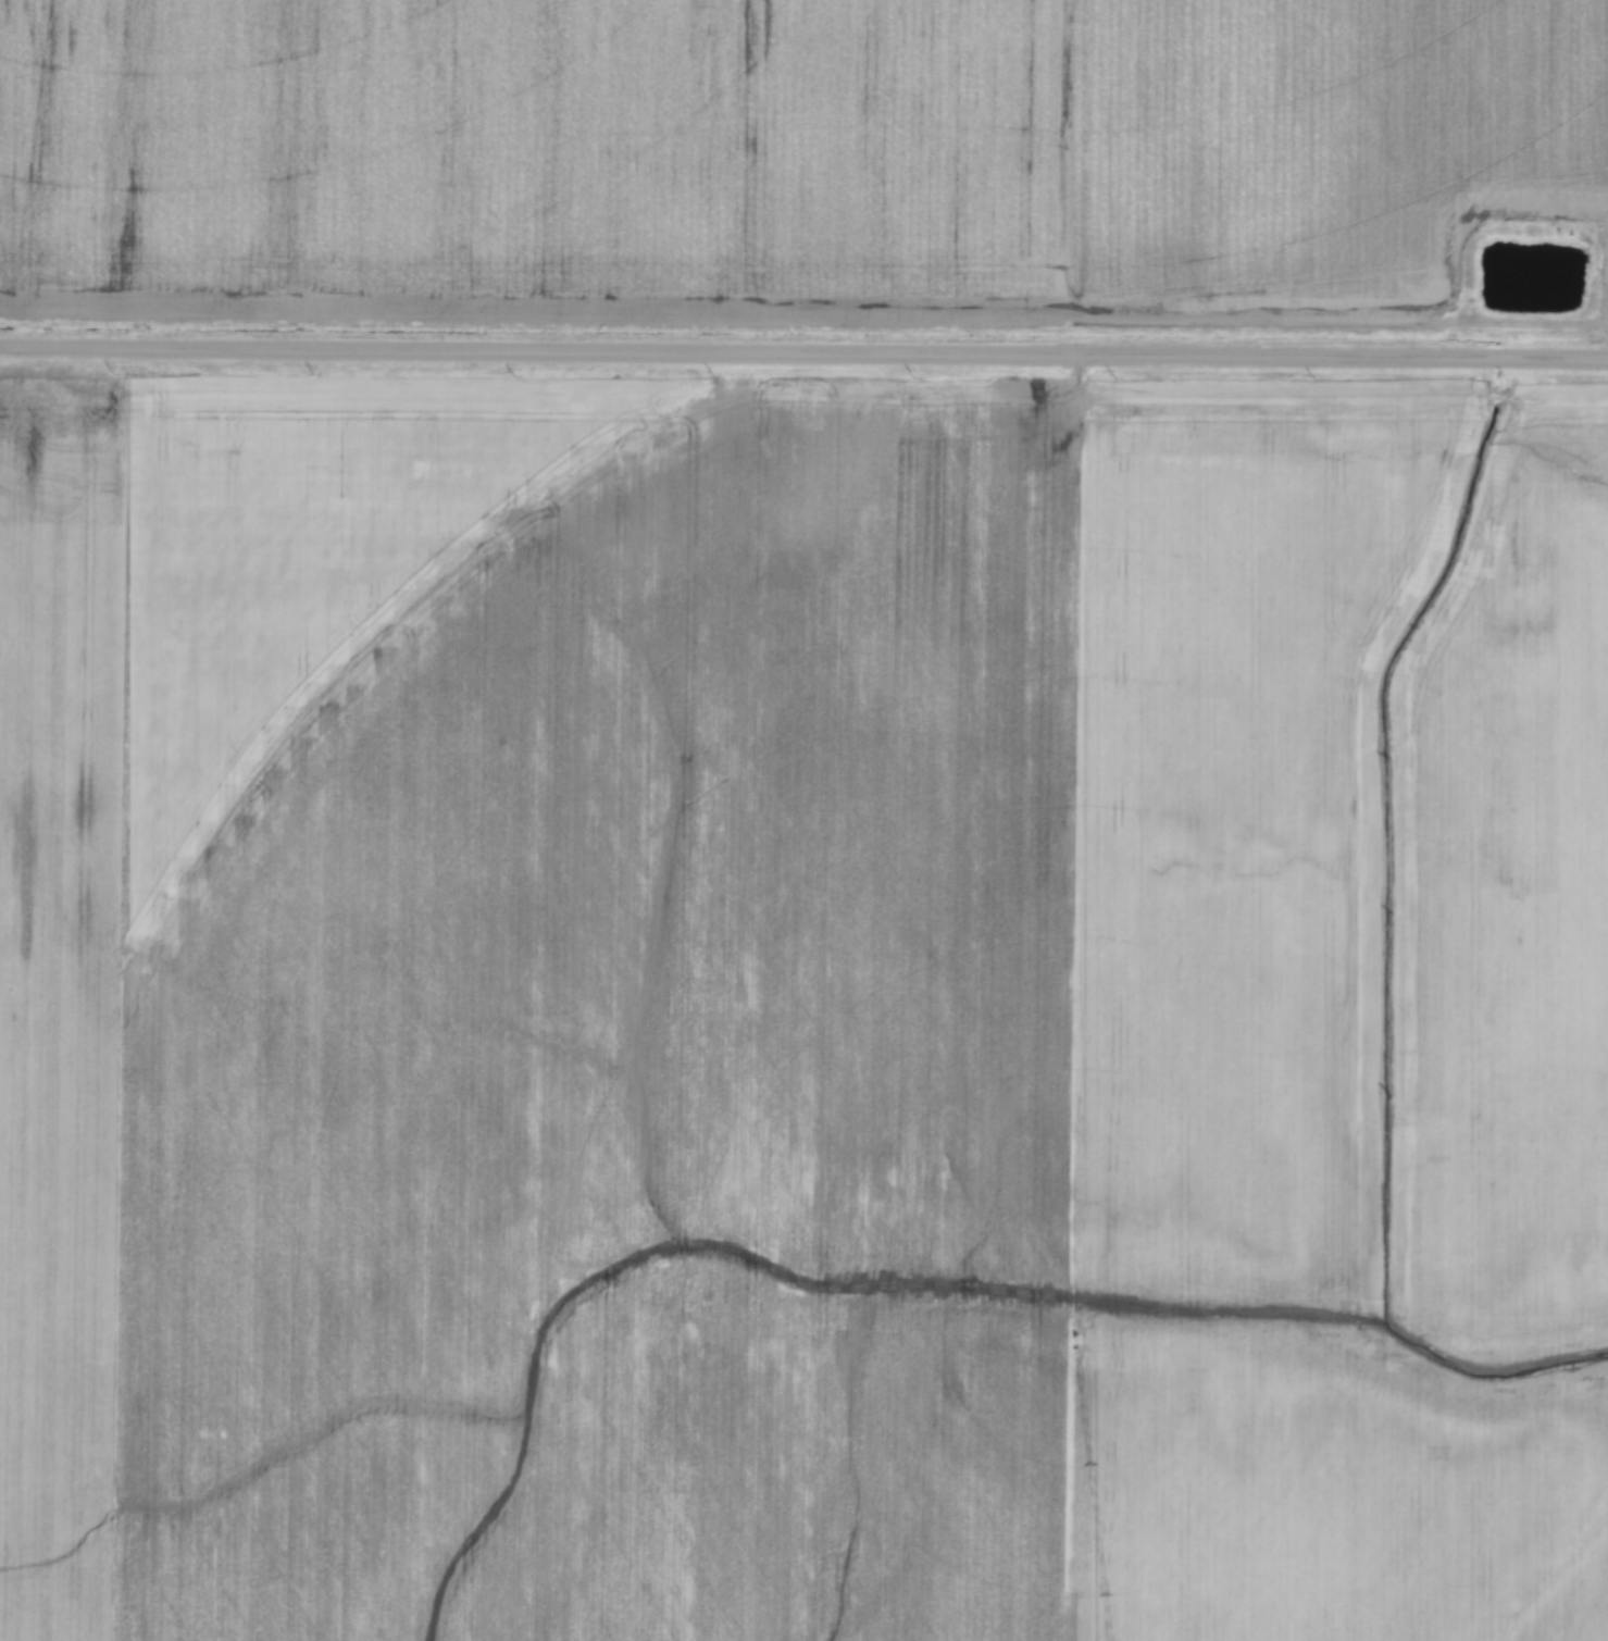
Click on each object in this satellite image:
road: (803, 358)

